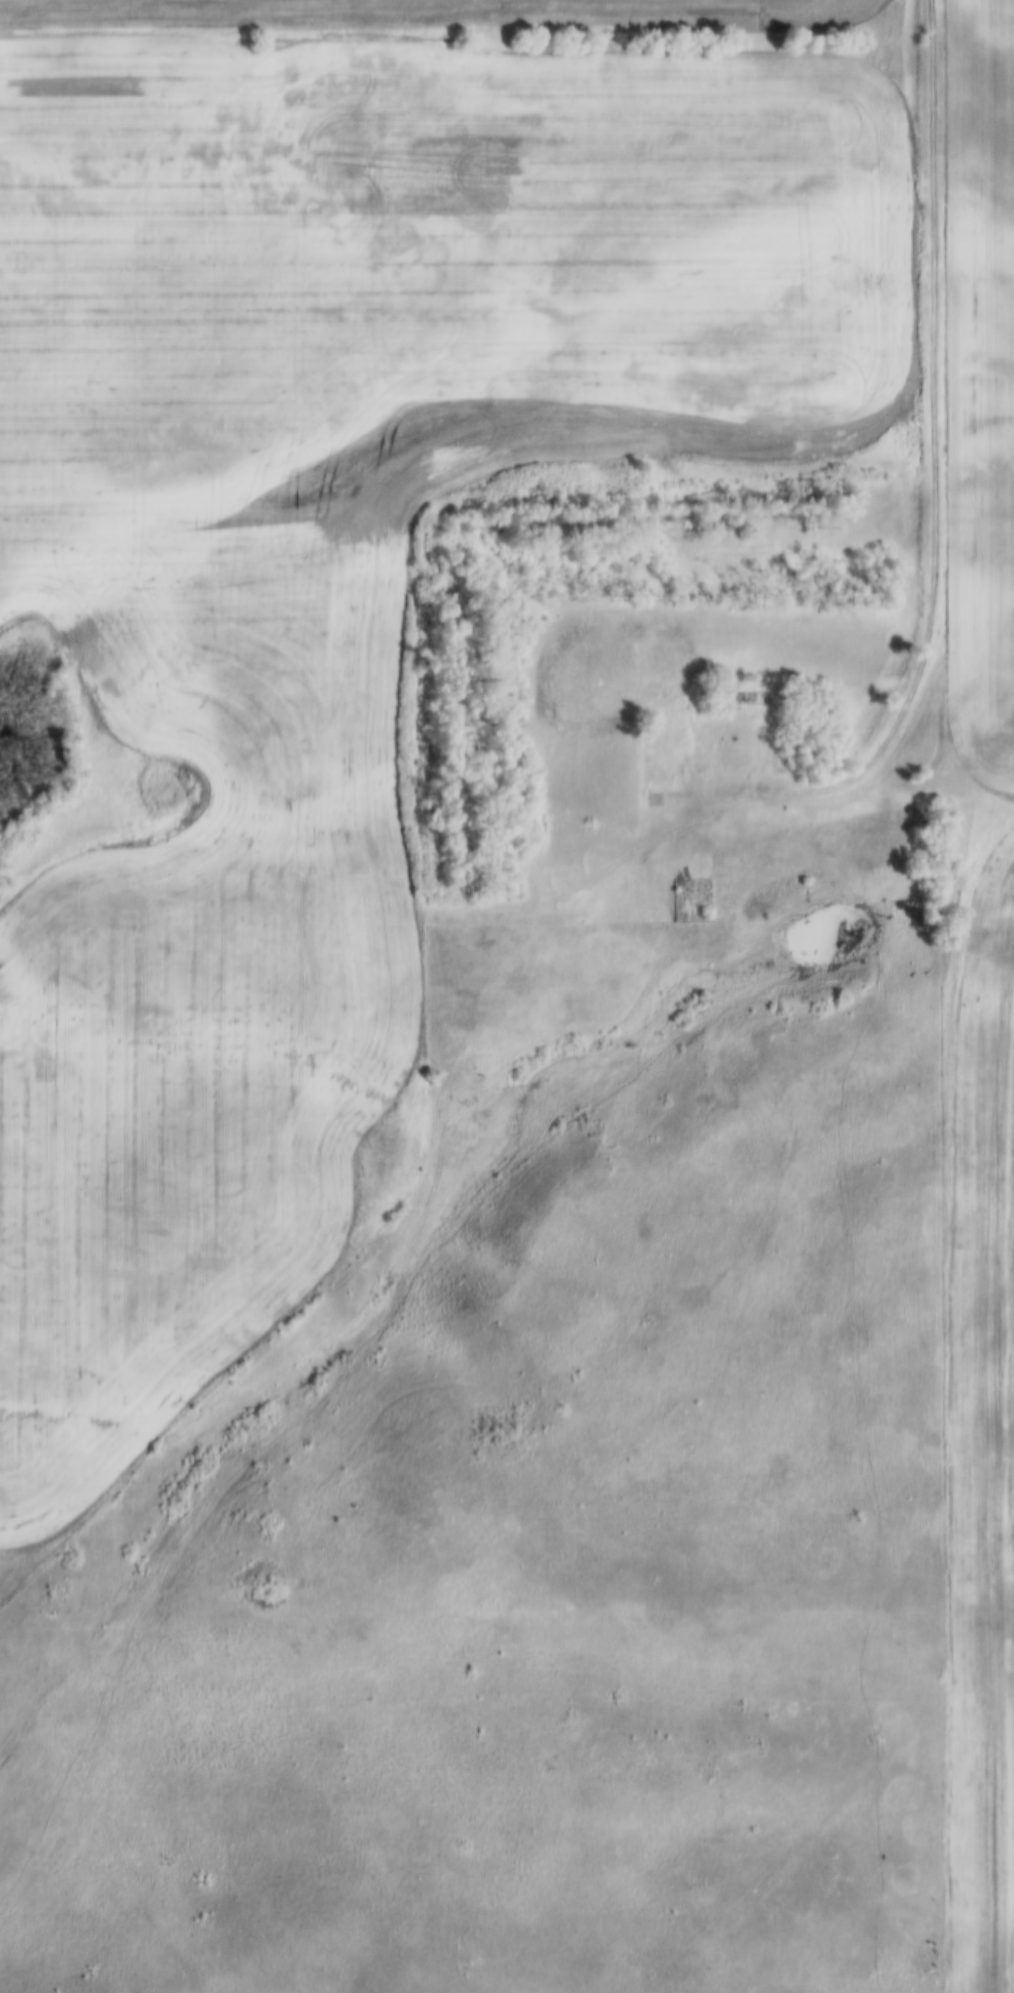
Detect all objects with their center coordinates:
building: (751, 704)

